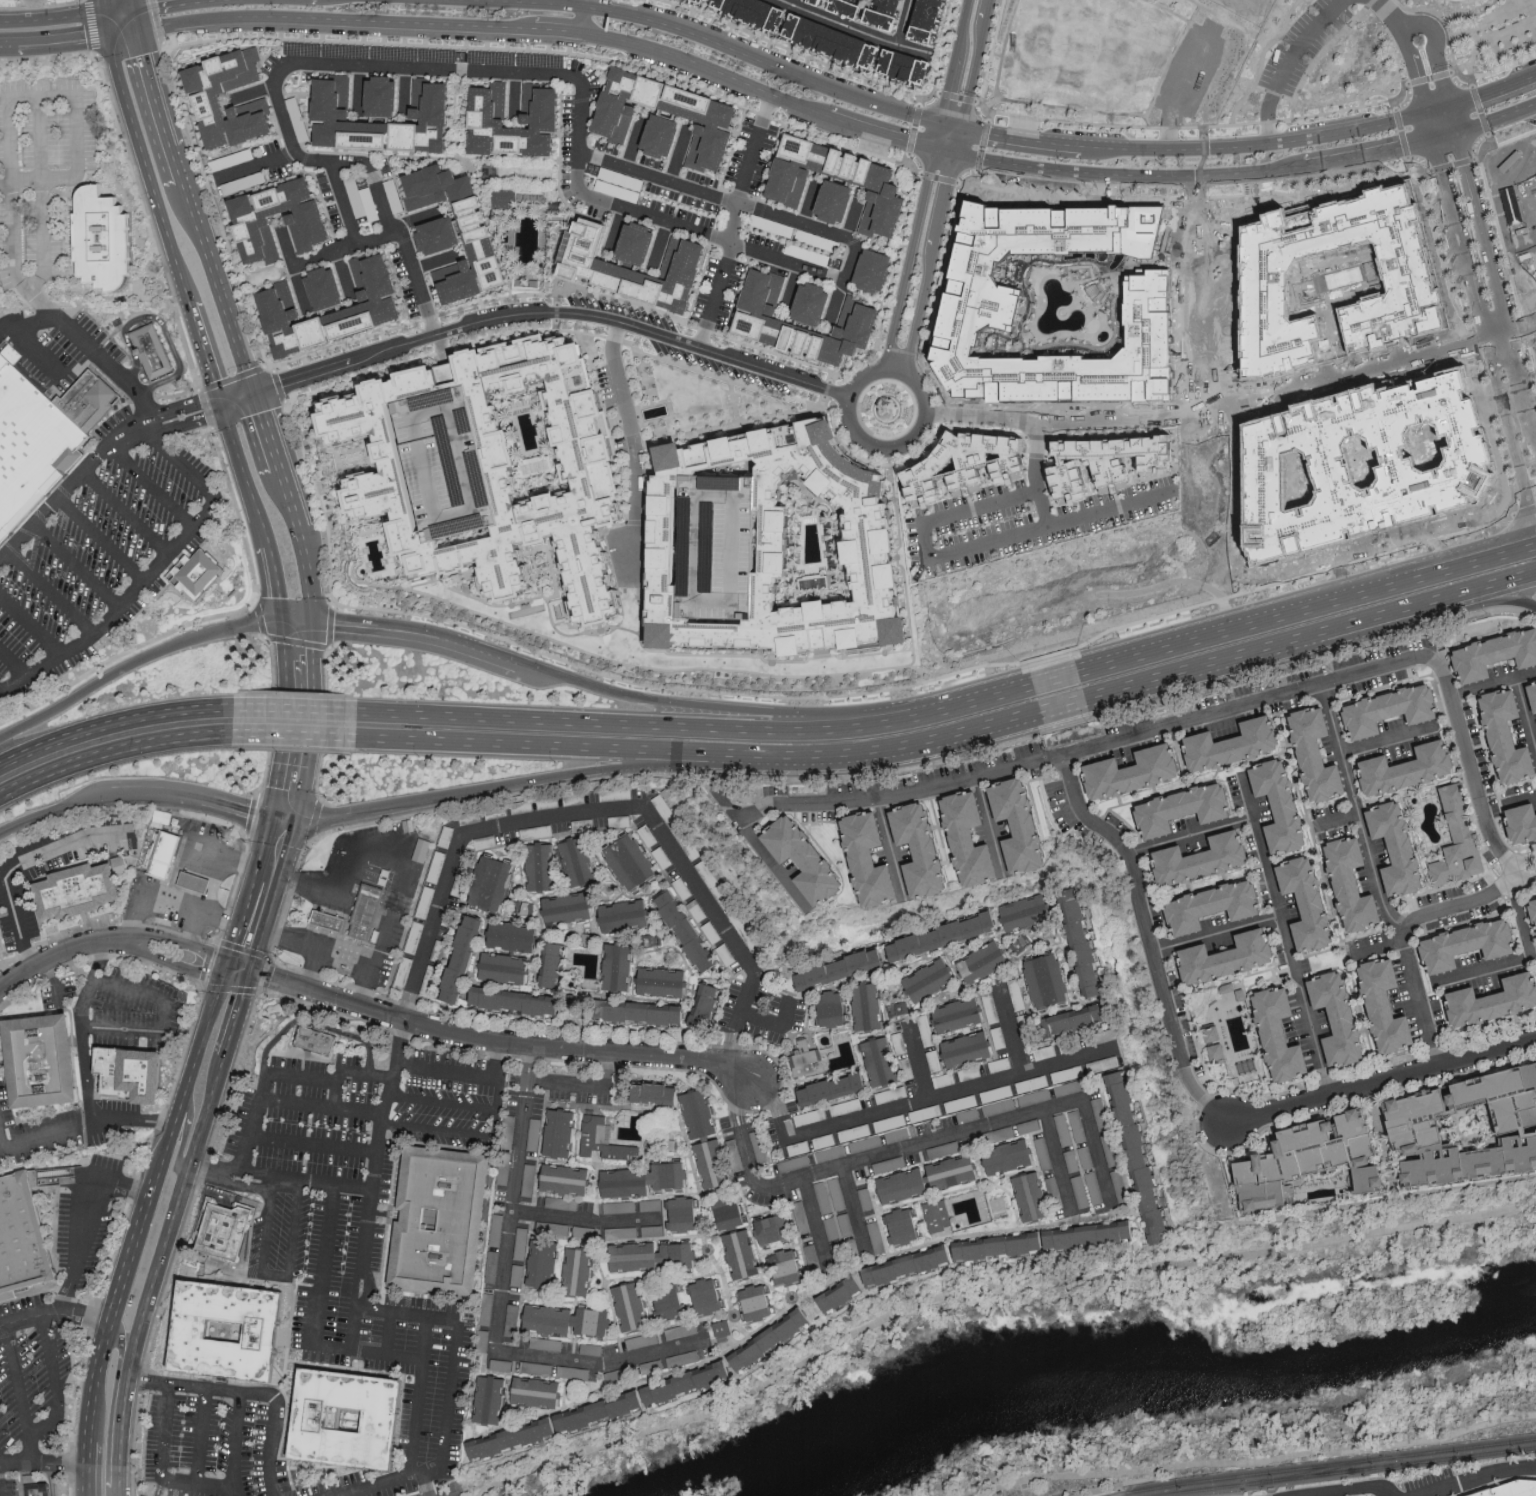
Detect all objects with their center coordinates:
building: (697, 1)
building: (708, 1)
building: (813, 1)
road: (137, 2)
road: (154, 2)
road: (527, 3)
road: (102, 4)
traffic signals: (138, 4)
road: (585, 4)
road: (120, 6)
building: (848, 7)
traffic signals: (102, 9)
road: (987, 9)
road: (1424, 9)
building: (750, 12)
building: (883, 14)
road: (141, 16)
road: (51, 17)
road: (1390, 18)
building: (934, 19)
road: (583, 20)
road: (322, 21)
road: (105, 22)
road: (902, 22)
road: (1487, 22)
road: (838, 23)
road: (516, 28)
traffic signals: (145, 29)
road: (982, 29)
road: (556, 30)
road: (127, 32)
traffic signals: (109, 35)
building: (830, 41)
road: (54, 44)
road: (1436, 46)
road: (914, 49)
road: (1322, 53)
park: (1375, 56)
road: (1261, 60)
road: (763, 63)
road: (954, 63)
road: (1286, 63)
road: (363, 65)
building: (902, 67)
road: (706, 68)
road: (1415, 73)
road: (970, 84)
road: (357, 87)
road: (404, 89)
road: (1493, 91)
building: (389, 94)
building: (435, 98)
building: (212, 101)
road: (166, 105)
traffic signals: (1450, 105)
road: (1438, 108)
traffic signals: (1426, 111)
road: (1323, 113)
building: (546, 114)
road: (1454, 117)
road: (1497, 118)
building: (721, 120)
road: (1040, 120)
road: (1235, 124)
road: (1429, 124)
traffic signals: (939, 127)
road: (949, 128)
traffic signals: (960, 129)
traffic signals: (1458, 130)
road: (880, 133)
road: (1445, 133)
building: (666, 134)
traffic signals: (1433, 137)
road: (935, 138)
road: (1020, 138)
road: (634, 141)
road: (957, 142)
road: (1255, 145)
traffic signals: (932, 150)
road: (943, 153)
road: (1368, 153)
road: (677, 155)
traffic signals: (954, 156)
road: (257, 164)
road: (149, 169)
road: (1128, 176)
road: (39, 178)
parking lot: (41, 178)
road: (374, 181)
building: (891, 189)
building: (842, 202)
road: (740, 203)
road: (809, 204)
road: (12, 219)
road: (655, 219)
road: (852, 220)
building: (312, 227)
building: (1026, 230)
building: (485, 231)
road: (1486, 233)
building: (445, 234)
building: (104, 239)
road: (1459, 239)
road: (306, 259)
road: (908, 259)
building: (643, 261)
road: (928, 264)
road: (807, 269)
building: (877, 269)
road: (298, 283)
road: (791, 287)
road: (224, 288)
road: (716, 297)
road: (838, 300)
road: (40, 301)
building: (819, 302)
building: (339, 305)
building: (865, 311)
road: (555, 314)
road: (1524, 330)
road: (1499, 340)
road: (41, 348)
road: (89, 348)
building: (153, 352)
road: (209, 354)
road: (1371, 368)
road: (1524, 379)
traffic signals: (260, 394)
road: (243, 399)
traffic signals: (226, 405)
road: (1149, 413)
road: (1504, 417)
road: (924, 418)
road: (1535, 422)
road: (736, 425)
road: (271, 430)
building: (41, 438)
road: (633, 447)
road: (93, 456)
building: (1117, 461)
building: (976, 465)
building: (501, 469)
road: (246, 471)
road: (1036, 481)
road: (152, 486)
road: (291, 496)
road: (126, 512)
road: (100, 541)
building: (784, 543)
road: (925, 544)
road: (1476, 548)
parking lot: (98, 550)
road: (1469, 563)
road: (76, 566)
road: (152, 573)
building: (197, 575)
road: (306, 575)
road: (272, 580)
road: (52, 592)
road: (1344, 600)
road: (1415, 607)
road: (1415, 618)
traffic signals: (279, 622)
road: (296, 623)
traffic signals: (313, 624)
road: (31, 626)
road: (288, 637)
road: (416, 637)
road: (305, 638)
road: (1180, 646)
building: (1492, 653)
road: (14, 664)
road: (132, 664)
road: (1187, 673)
road: (624, 679)
road: (1051, 682)
road: (1492, 683)
building: (1527, 696)
road: (1058, 710)
building: (1378, 710)
road: (950, 711)
road: (691, 712)
road: (1526, 712)
road: (292, 721)
road: (629, 724)
road: (373, 725)
road: (1146, 731)
road: (967, 735)
building: (1494, 736)
road: (111, 738)
road: (295, 738)
road: (1388, 740)
building: (1220, 745)
road: (545, 746)
building: (1534, 748)
building: (1303, 755)
road: (801, 759)
building: (1395, 769)
building: (1129, 771)
road: (493, 789)
building: (615, 793)
road: (147, 794)
road: (1520, 799)
building: (1267, 806)
road: (603, 808)
building: (1170, 809)
road: (54, 810)
road: (233, 810)
road: (1337, 822)
traffic signals: (285, 823)
building: (1515, 823)
building: (1025, 825)
road: (1190, 835)
building: (976, 839)
building: (1451, 839)
road: (262, 840)
road: (396, 846)
road: (292, 848)
building: (1383, 848)
building: (422, 849)
building: (927, 850)
building: (166, 854)
road: (210, 854)
building: (809, 858)
building: (1188, 859)
road: (22, 860)
building: (876, 860)
building: (581, 861)
building: (633, 862)
road: (1526, 862)
building: (544, 866)
road: (252, 873)
road: (1376, 877)
road: (1527, 877)
building: (197, 882)
road: (314, 883)
building: (494, 883)
building: (1339, 885)
road: (163, 895)
building: (80, 896)
building: (1294, 904)
building: (528, 907)
building: (1199, 907)
building: (571, 908)
road: (1434, 911)
building: (1027, 912)
building: (1528, 914)
building: (628, 915)
building: (359, 921)
road: (1520, 921)
road: (234, 923)
road: (268, 925)
building: (688, 929)
road: (194, 932)
road: (1218, 935)
building: (517, 936)
building: (945, 936)
road: (1148, 937)
road: (1288, 937)
building: (1, 940)
building: (1084, 944)
road: (320, 945)
building: (1455, 945)
building: (1213, 958)
building: (1, 959)
building: (464, 959)
building: (985, 962)
building: (556, 964)
building: (1535, 966)
building: (621, 967)
traffic signals: (221, 968)
building: (507, 968)
building: (840, 968)
road: (1490, 971)
traffic signals: (252, 976)
road: (263, 979)
building: (931, 980)
building: (430, 981)
building: (665, 981)
building: (1049, 981)
building: (520, 1000)
building: (1483, 1001)
building: (708, 1006)
building: (870, 1006)
building: (989, 1007)
building: (1373, 1007)
building: (836, 1008)
building: (898, 1008)
building: (652, 1013)
building: (961, 1014)
road: (177, 1016)
road: (239, 1016)
building: (1080, 1020)
building: (1326, 1020)
building: (1310, 1022)
road: (315, 1025)
road: (775, 1025)
building: (926, 1030)
road: (1012, 1030)
building: (1281, 1032)
building: (1205, 1034)
road: (84, 1035)
building: (1267, 1035)
building: (1034, 1039)
building: (315, 1041)
building: (900, 1042)
building: (970, 1048)
building: (1210, 1051)
road: (644, 1056)
road: (917, 1058)
building: (809, 1060)
building: (934, 1060)
building: (883, 1061)
building: (1102, 1063)
building: (1000, 1064)
building: (46, 1067)
road: (531, 1069)
road: (462, 1071)
road: (186, 1073)
road: (282, 1075)
building: (134, 1079)
road: (1383, 1082)
road: (585, 1084)
building: (837, 1088)
road: (338, 1097)
road: (442, 1101)
road: (913, 1102)
building: (961, 1102)
road: (496, 1106)
road: (322, 1108)
building: (1101, 1112)
building: (701, 1113)
building: (812, 1116)
road: (132, 1122)
building: (1029, 1125)
building: (1509, 1127)
road: (437, 1131)
road: (184, 1132)
building: (853, 1132)
building: (562, 1133)
road: (4, 1134)
building: (823, 1140)
road: (37, 1141)
building: (605, 1141)
road: (314, 1146)
building: (1110, 1149)
road: (1096, 1151)
building: (831, 1152)
building: (1043, 1152)
building: (1011, 1155)
building: (797, 1156)
building: (1141, 1156)
building: (1299, 1157)
road: (1058, 1160)
road: (867, 1161)
building: (714, 1163)
building: (957, 1169)
building: (569, 1178)
building: (645, 1179)
building: (1355, 1179)
building: (907, 1183)
building: (1053, 1186)
road: (366, 1190)
building: (1034, 1195)
building: (866, 1197)
building: (1000, 1203)
road: (1336, 1203)
building: (651, 1204)
building: (614, 1206)
road: (854, 1209)
building: (731, 1210)
road: (177, 1211)
building: (686, 1212)
building: (939, 1214)
building: (439, 1216)
parking lot: (364, 1217)
road: (587, 1220)
road: (514, 1221)
road: (815, 1221)
road: (85, 1222)
building: (838, 1225)
building: (905, 1225)
building: (224, 1227)
building: (777, 1227)
building: (653, 1229)
building: (20, 1241)
building: (1009, 1247)
building: (744, 1253)
building: (655, 1255)
building: (813, 1258)
building: (545, 1263)
building: (492, 1266)
building: (787, 1266)
building: (580, 1269)
road: (274, 1277)
road: (982, 1285)
building: (843, 1293)
building: (709, 1295)
road: (355, 1299)
building: (760, 1301)
building: (671, 1303)
road: (112, 1308)
building: (487, 1308)
road: (53, 1315)
building: (572, 1319)
road: (314, 1321)
building: (725, 1327)
road: (352, 1328)
building: (682, 1330)
road: (388, 1333)
building: (190, 1335)
building: (643, 1339)
road: (122, 1343)
building: (692, 1356)
building: (502, 1364)
road: (602, 1364)
river: (1118, 1368)
parking lot: (30, 1378)
road: (19, 1381)
building: (663, 1387)
building: (540, 1391)
road: (251, 1395)
road: (57, 1396)
road: (418, 1397)
building: (493, 1399)
road: (449, 1402)
building: (380, 1418)
road: (122, 1427)
road: (164, 1432)
road: (203, 1437)
road: (238, 1445)
parking lot: (212, 1448)
road: (43, 1462)
road: (1261, 1463)
railway: (1321, 1465)
road: (85, 1468)
railway: (1319, 1471)
railway: (1346, 1471)
road: (1480, 1478)
road: (50, 1479)
road: (399, 1481)
road: (198, 1482)
parking lot: (363, 1484)
railway: (1093, 1487)
parking lot: (1391, 1487)
building: (36, 1489)
building: (1510, 1489)
parking lot: (437, 1490)
road: (1102, 1490)
road: (119, 1491)
road: (1362, 1492)

